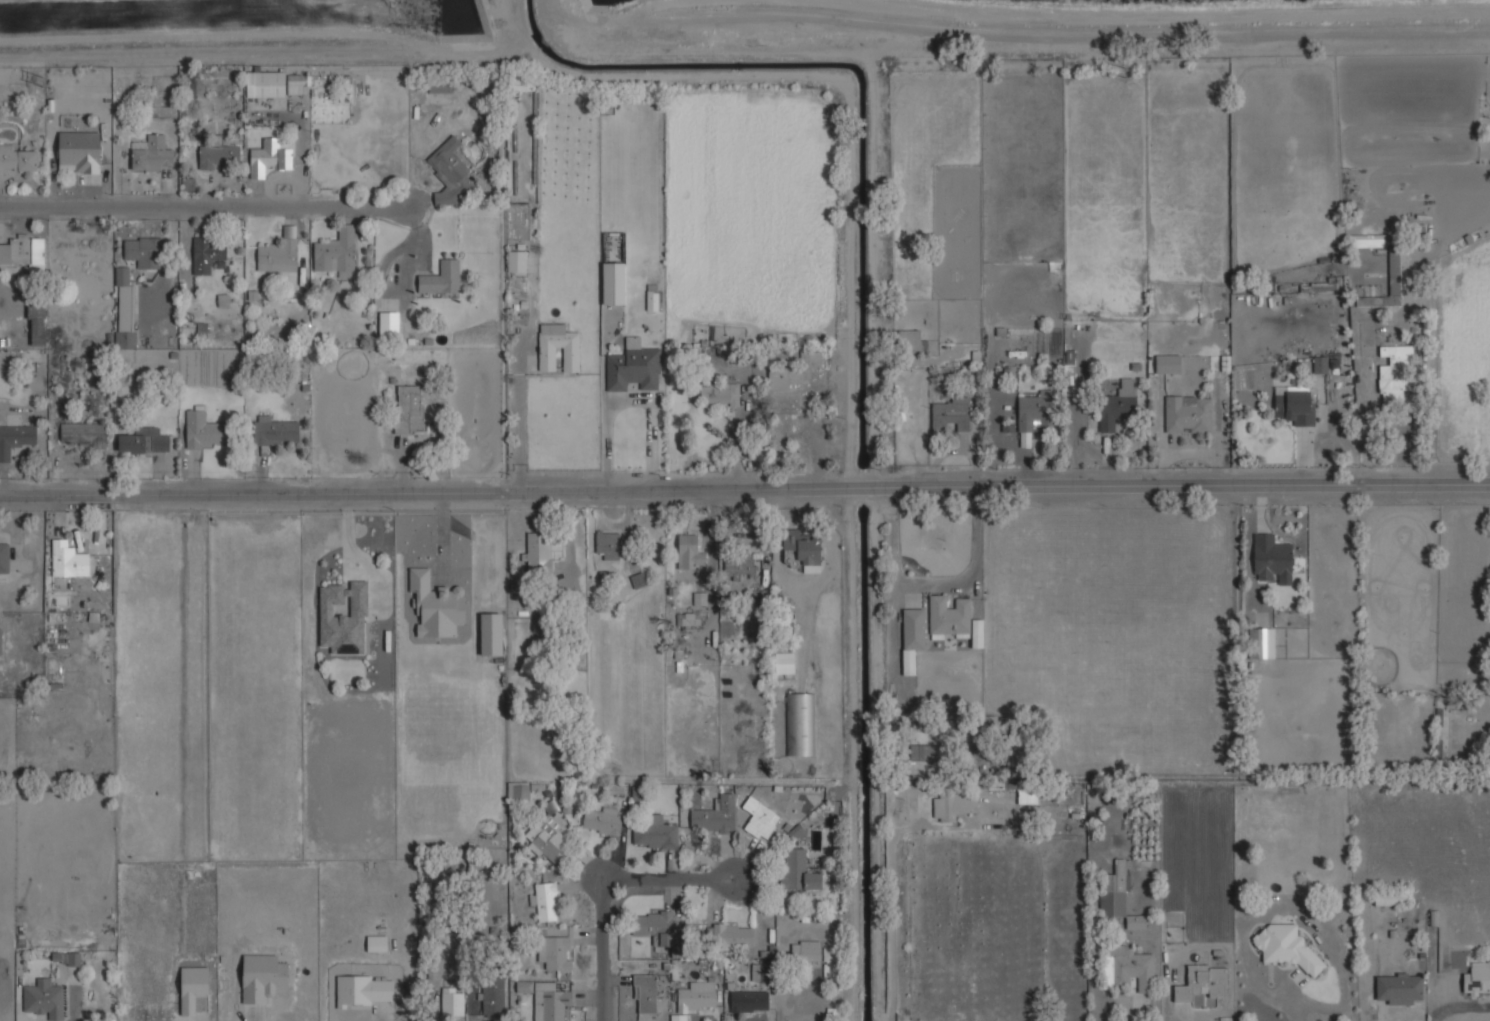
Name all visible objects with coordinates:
building: (296, 83)
building: (265, 84)
building: (522, 84)
building: (439, 86)
building: (79, 151)
building: (151, 153)
building: (271, 156)
building: (219, 157)
building: (16, 159)
building: (450, 172)
road: (211, 202)
building: (289, 231)
building: (1367, 240)
building: (143, 252)
building: (24, 253)
building: (337, 253)
building: (208, 254)
building: (277, 256)
building: (516, 261)
building: (441, 278)
building: (613, 283)
building: (1389, 284)
building: (653, 297)
building: (222, 300)
building: (124, 309)
building: (36, 322)
building: (388, 324)
building: (909, 341)
building: (705, 350)
building: (570, 358)
building: (1168, 362)
building: (633, 366)
building: (795, 370)
building: (1395, 373)
building: (719, 393)
road: (521, 398)
building: (1118, 403)
building: (1295, 404)
building: (409, 408)
building: (1033, 411)
building: (1189, 413)
building: (952, 414)
building: (204, 430)
building: (274, 430)
building: (84, 433)
building: (15, 439)
building: (143, 440)
road: (744, 482)
road: (347, 528)
building: (608, 544)
building: (805, 549)
building: (539, 550)
building: (690, 552)
building: (4, 555)
building: (1272, 559)
building: (69, 560)
building: (740, 565)
building: (638, 580)
building: (700, 597)
building: (436, 608)
building: (344, 616)
building: (949, 617)
building: (686, 619)
building: (977, 633)
building: (490, 634)
building: (912, 637)
building: (0, 641)
building: (1266, 643)
building: (802, 724)
building: (923, 752)
building: (616, 788)
building: (520, 794)
building: (1024, 798)
building: (949, 806)
building: (712, 819)
building: (604, 820)
building: (762, 822)
building: (654, 832)
building: (795, 833)
building: (547, 837)
building: (798, 870)
road: (632, 886)
building: (1118, 897)
building: (1391, 898)
building: (547, 901)
road: (889, 912)
building: (655, 931)
building: (734, 936)
building: (376, 943)
building: (1284, 947)
building: (807, 951)
building: (554, 952)
building: (1127, 967)
building: (262, 977)
building: (1476, 979)
building: (1202, 984)
building: (524, 986)
building: (1399, 988)
building: (194, 989)
building: (363, 990)
building: (646, 993)
building: (697, 996)
building: (493, 997)
building: (45, 998)
building: (749, 1000)
building: (453, 1001)
building: (549, 1001)

